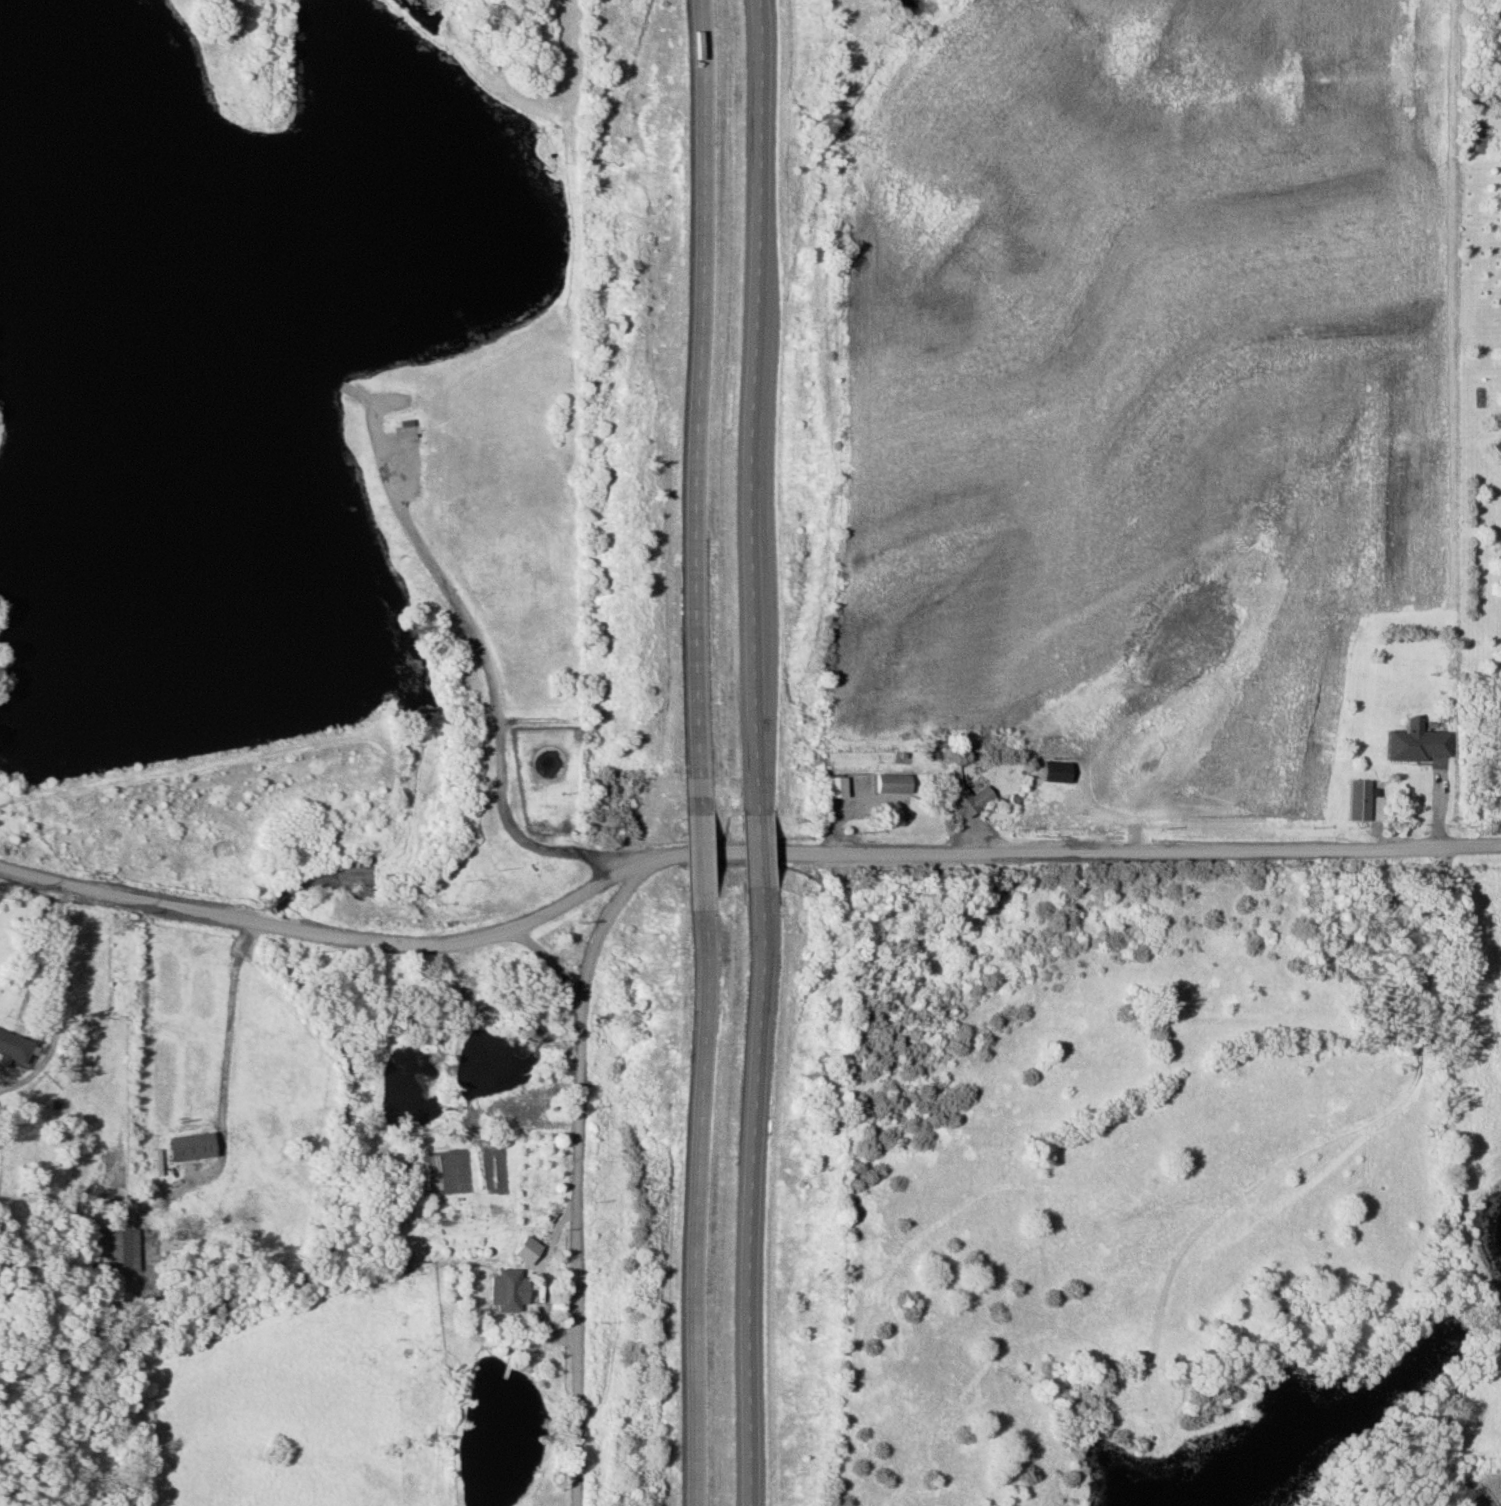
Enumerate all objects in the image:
crop: (1137, 371)
road: (697, 400)
road: (755, 401)
building: (1495, 447)
building: (1499, 487)
road: (484, 670)
building: (1409, 745)
dam: (203, 746)
building: (536, 764)
building: (1050, 772)
building: (886, 783)
building: (831, 787)
building: (1352, 800)
building: (962, 801)
road: (701, 851)
road: (756, 852)
road: (737, 858)
building: (185, 861)
road: (602, 936)
building: (903, 937)
road: (55, 986)
road: (231, 1038)
building: (9, 1048)
building: (189, 1147)
road: (702, 1203)
road: (758, 1203)
road: (580, 1204)
building: (120, 1250)
building: (499, 1291)

